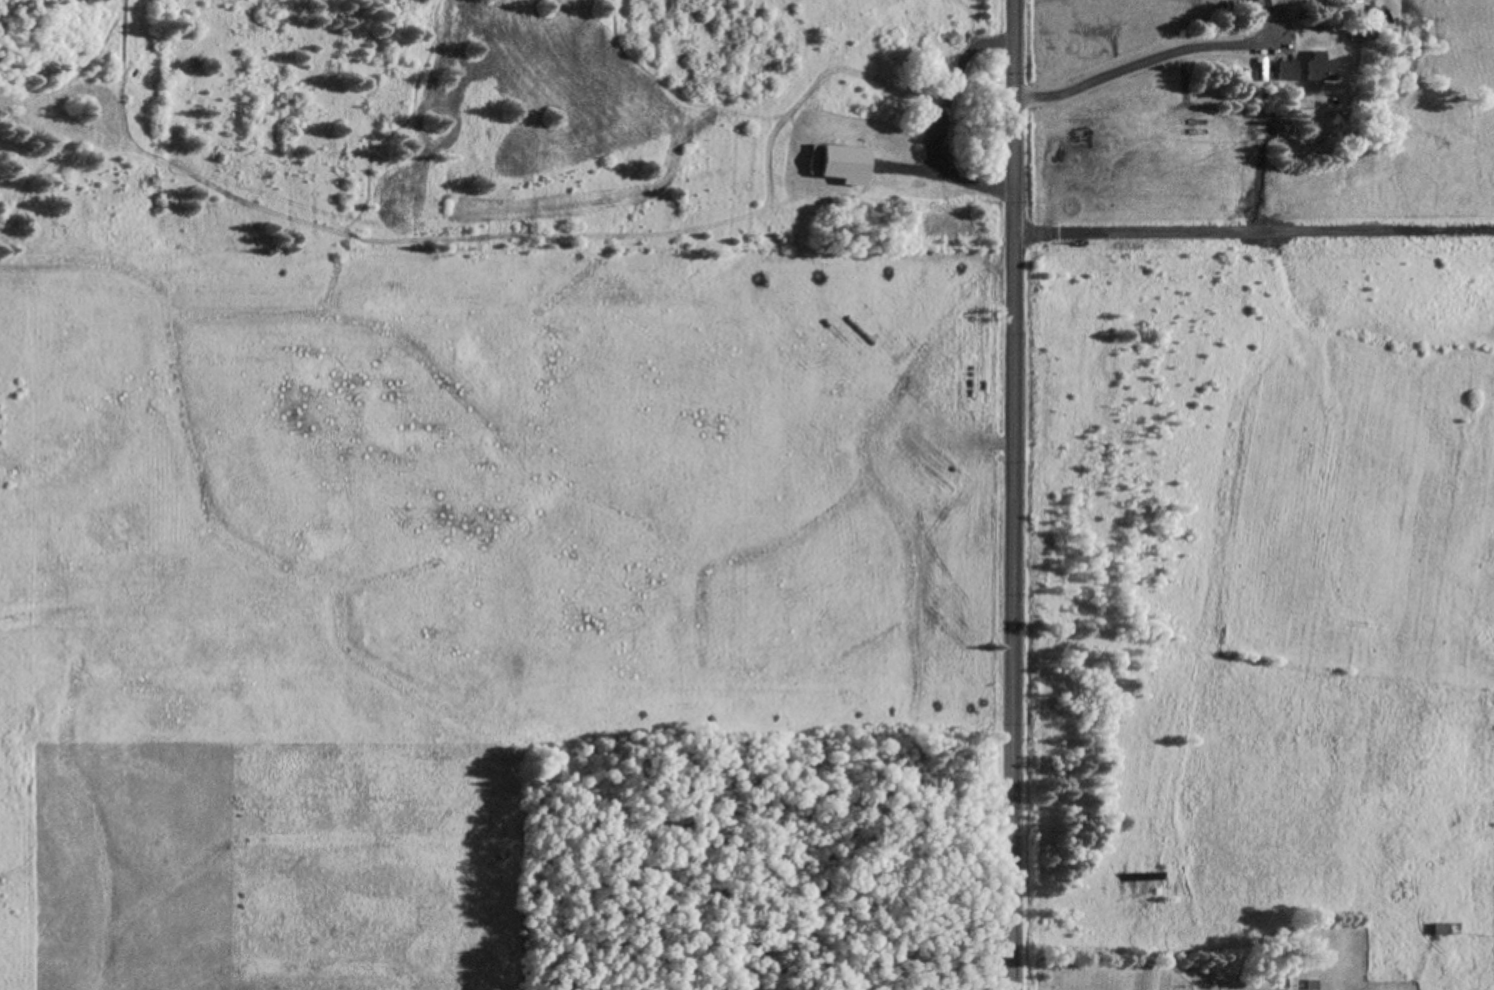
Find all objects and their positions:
building: (1311, 68)
building: (1282, 70)
road: (1012, 495)
crop: (1253, 496)
crop: (448, 572)
building: (1438, 929)

